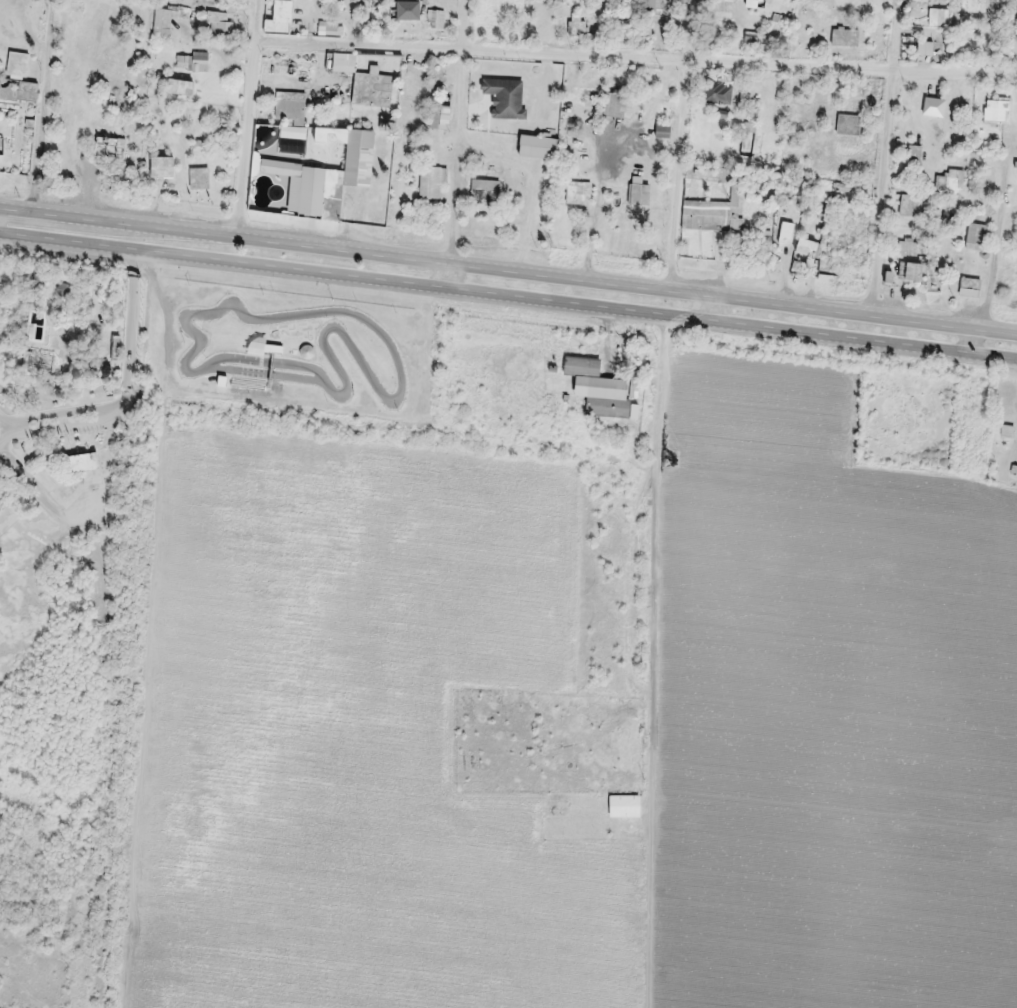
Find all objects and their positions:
building: (505, 94)
building: (615, 104)
building: (848, 125)
building: (953, 181)
building: (907, 248)
building: (913, 270)
building: (968, 289)

